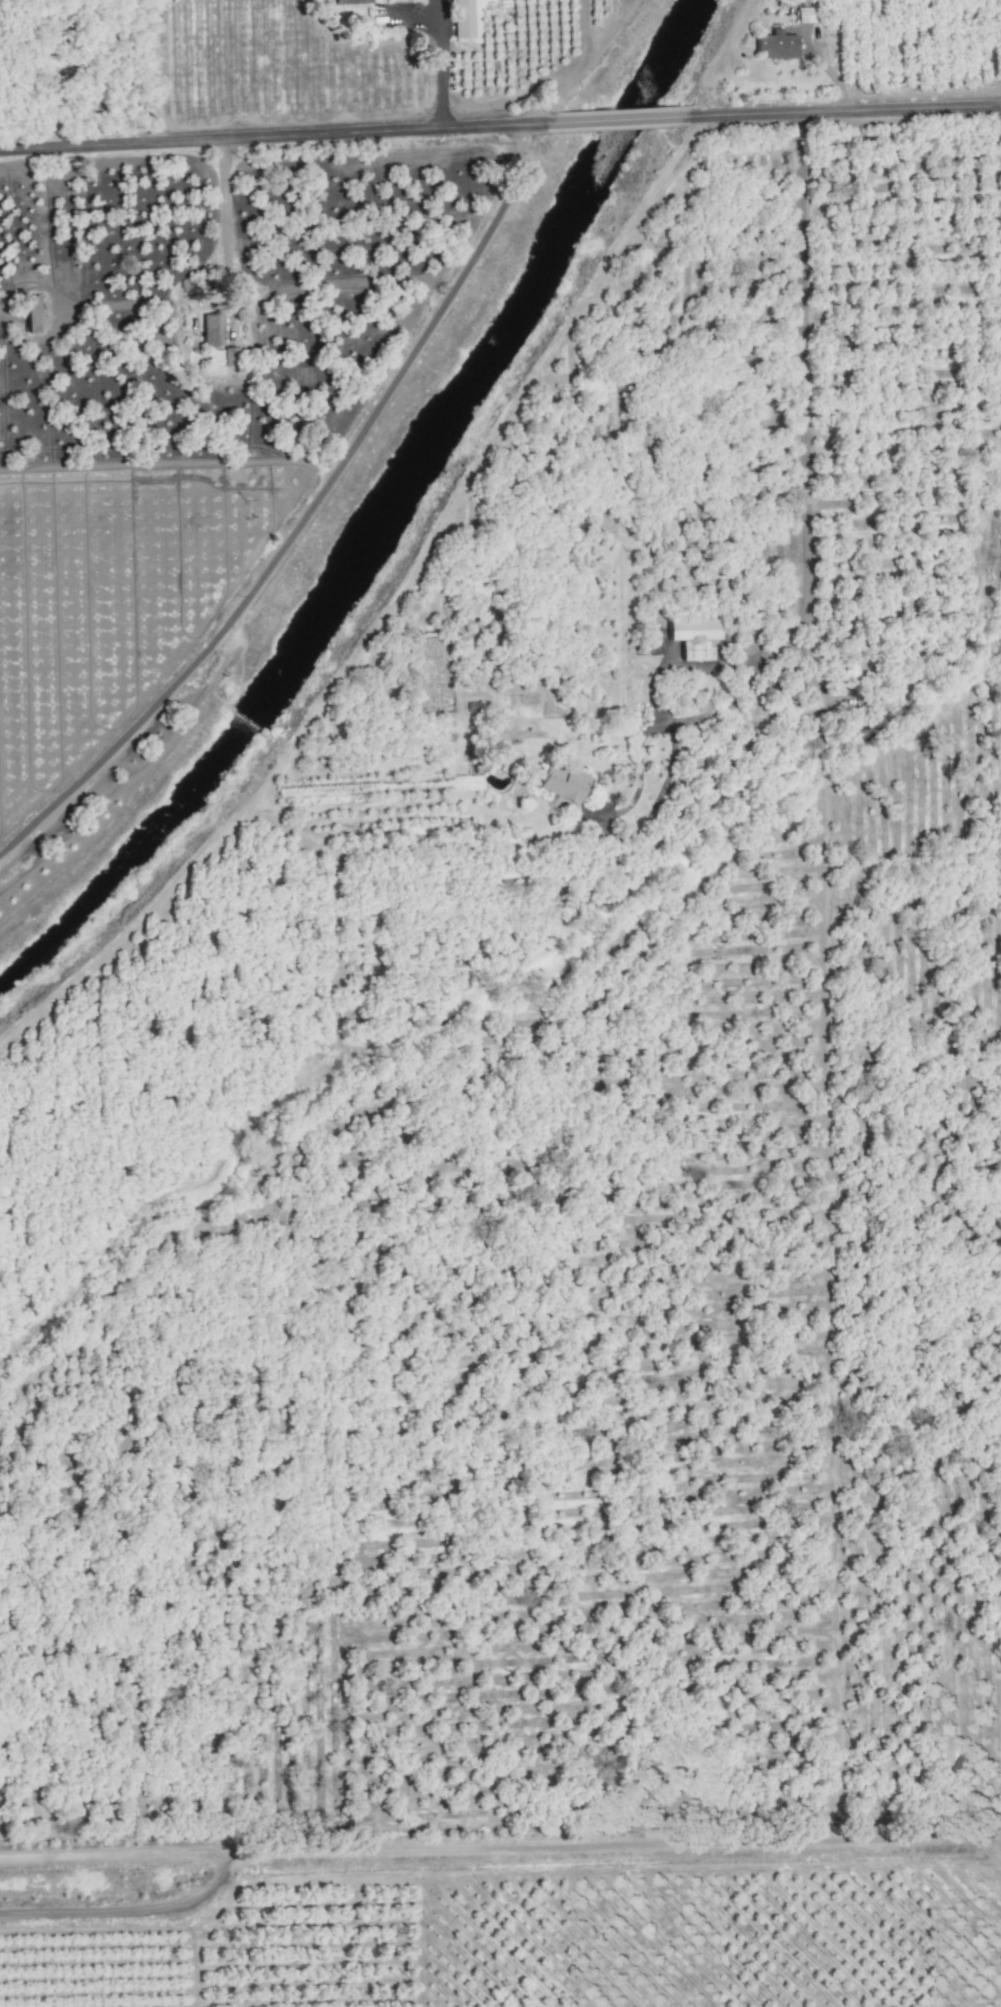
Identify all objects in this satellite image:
building: (463, 18)
building: (778, 44)
road: (438, 62)
road: (858, 111)
road: (625, 118)
road: (266, 131)
road: (222, 214)
building: (33, 319)
building: (214, 328)
building: (232, 355)
road: (800, 427)
building: (695, 635)
building: (851, 669)
road: (684, 727)
road: (812, 767)
building: (564, 782)

